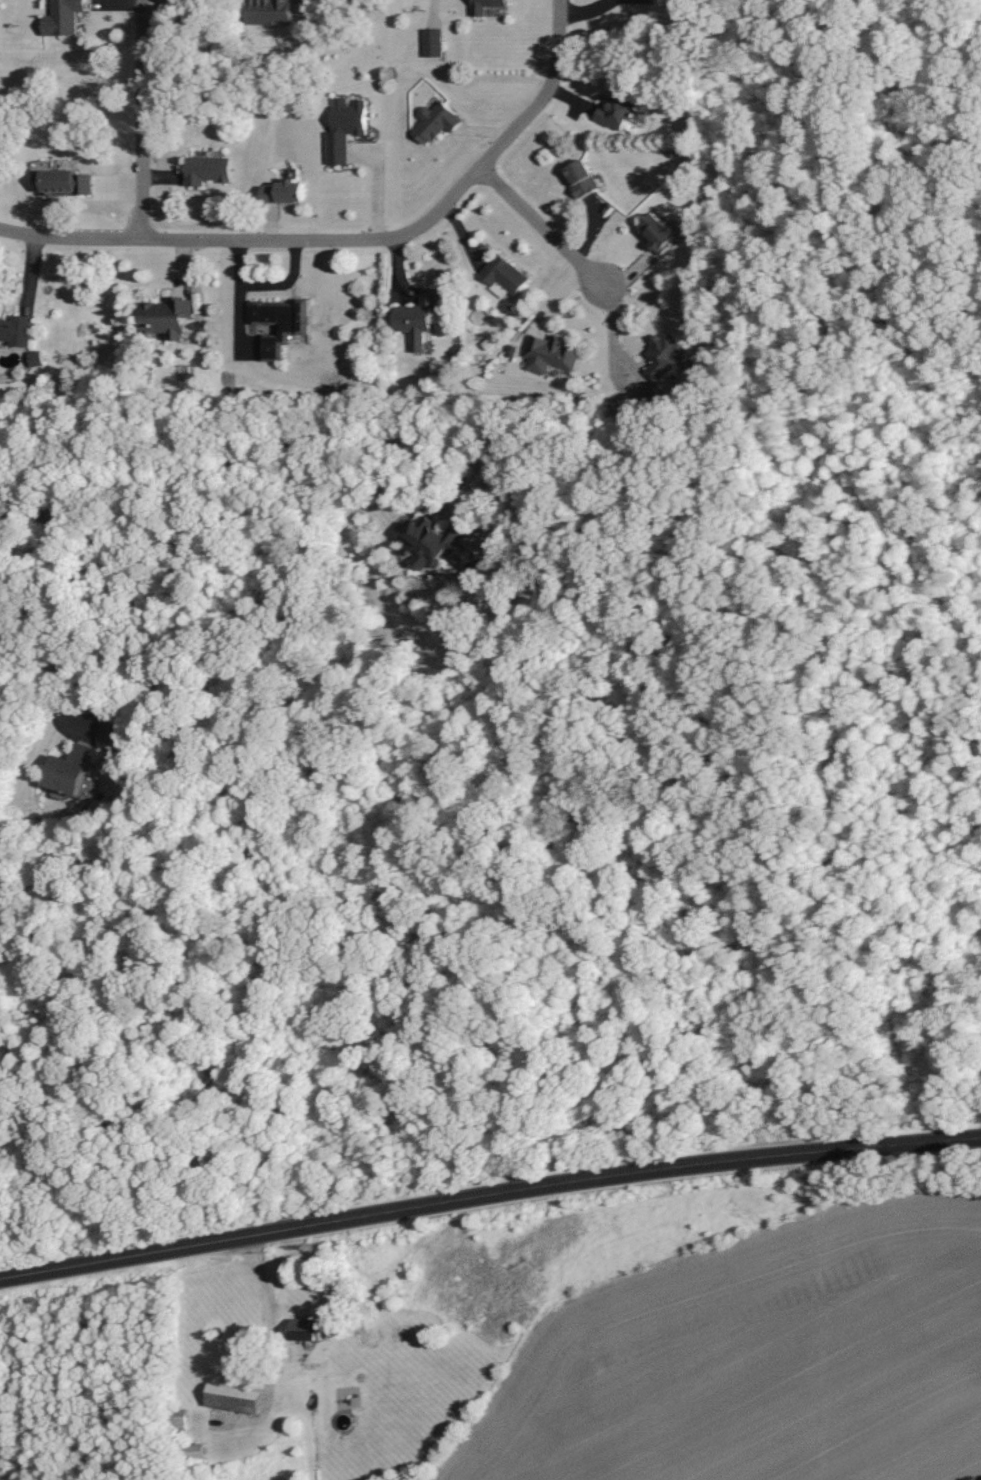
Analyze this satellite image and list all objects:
building: (479, 11)
building: (272, 12)
building: (64, 18)
building: (434, 43)
building: (618, 110)
building: (436, 122)
road: (138, 123)
building: (346, 128)
building: (209, 170)
building: (584, 180)
building: (65, 182)
building: (286, 192)
road: (417, 232)
road: (536, 233)
building: (661, 233)
road: (67, 245)
building: (505, 274)
building: (169, 317)
building: (419, 318)
building: (281, 323)
building: (17, 330)
building: (553, 354)
building: (665, 356)
building: (36, 358)
road: (235, 480)
building: (442, 546)
road: (63, 636)
building: (114, 732)
building: (71, 769)
road: (488, 1169)
road: (270, 1271)
building: (307, 1329)
building: (235, 1399)
building: (181, 1416)
building: (201, 1451)

